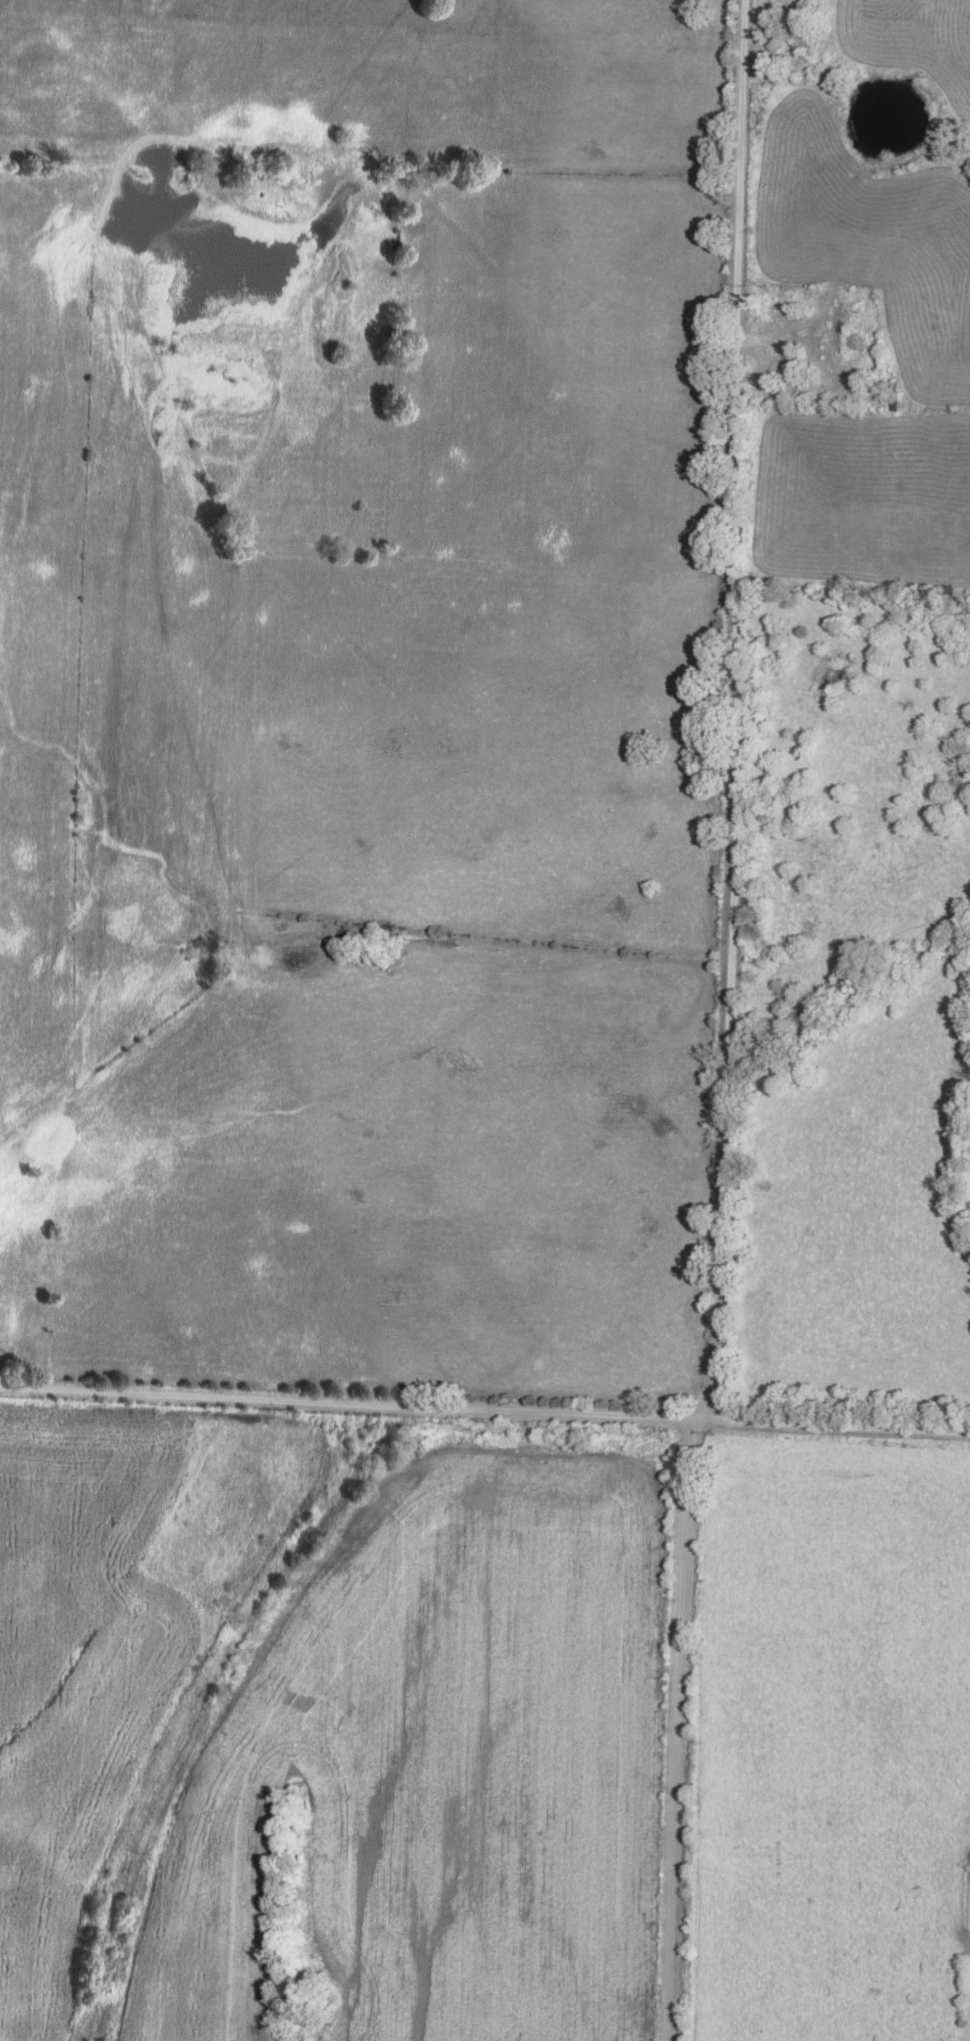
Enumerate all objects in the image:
building: (787, 33)
road: (731, 709)
road: (47, 1101)
road: (484, 1405)
road: (675, 1728)

